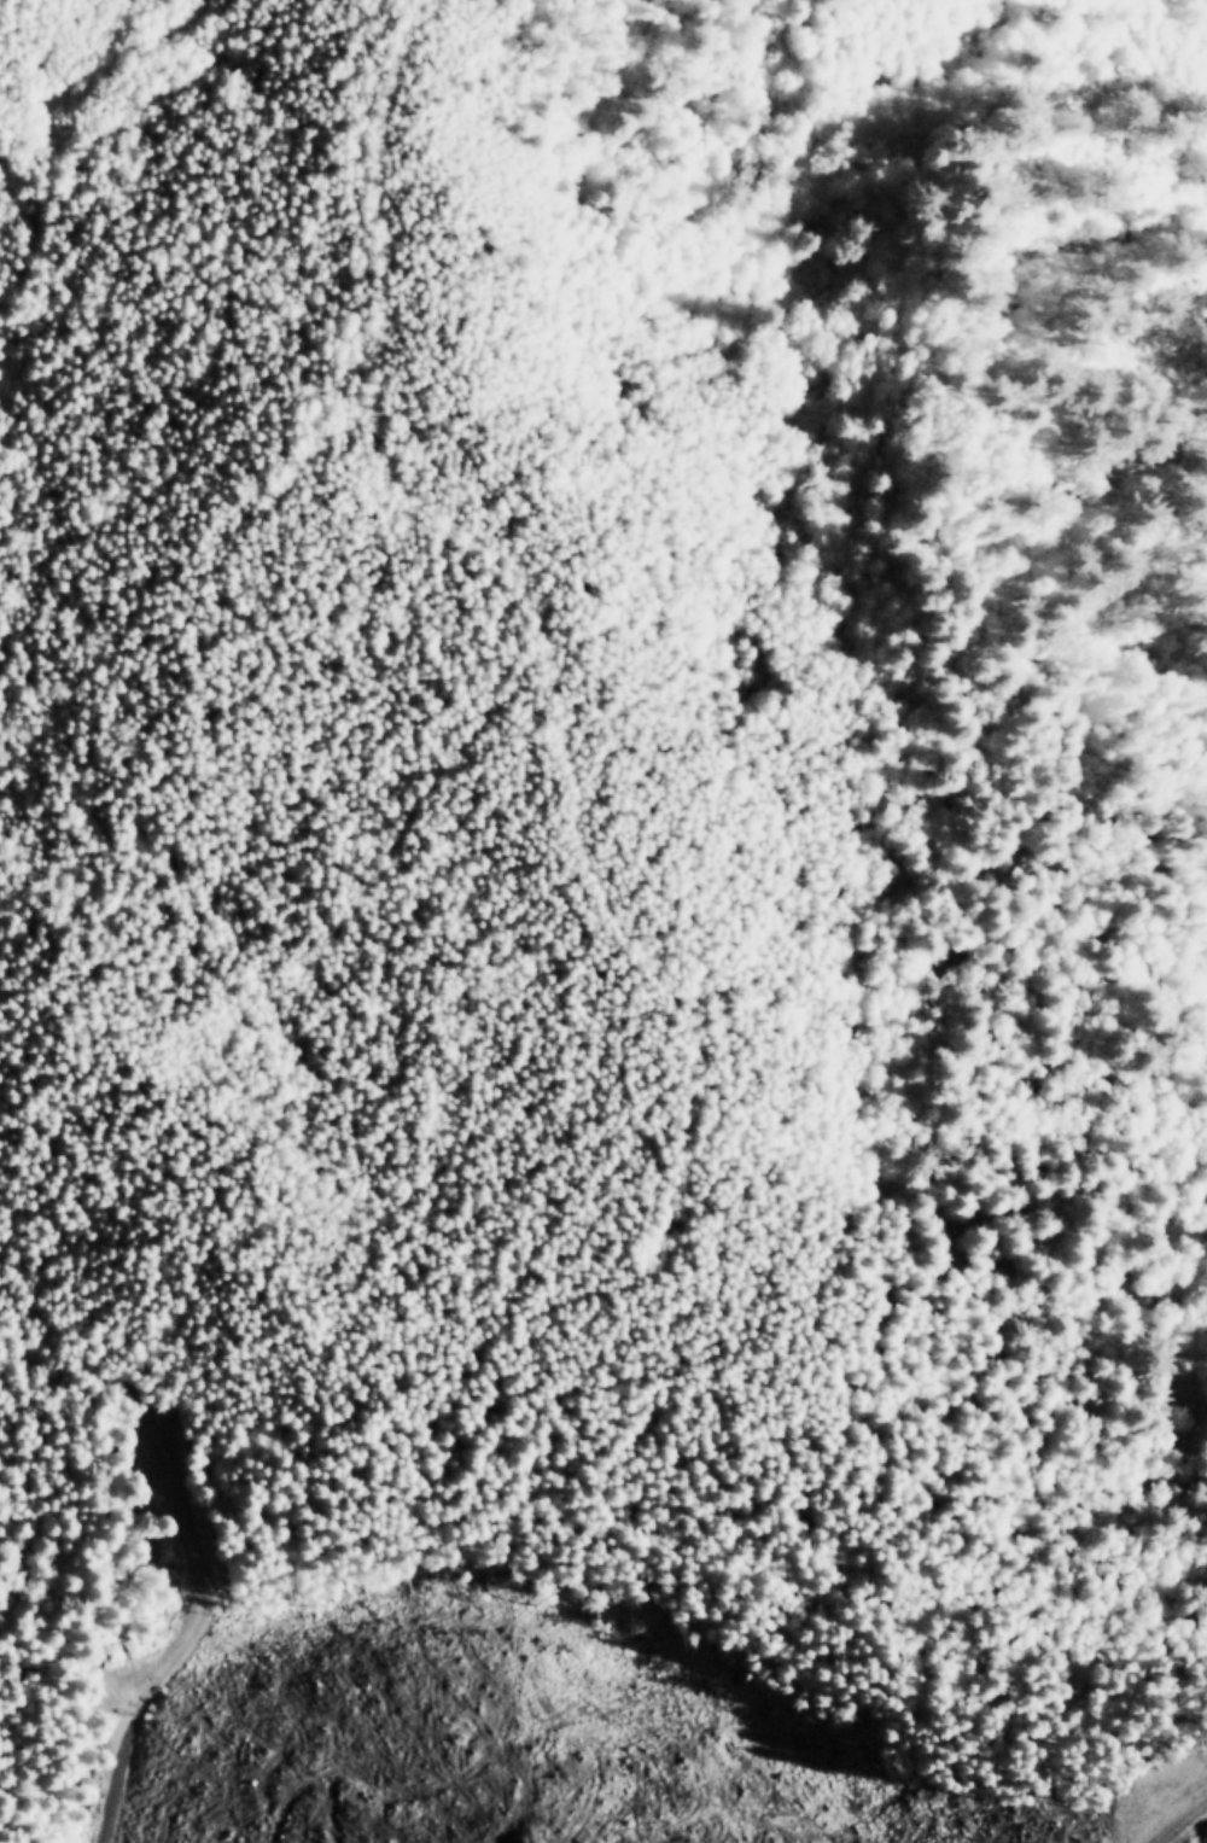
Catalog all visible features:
road: (112, 70)
road: (49, 215)
road: (119, 1640)

